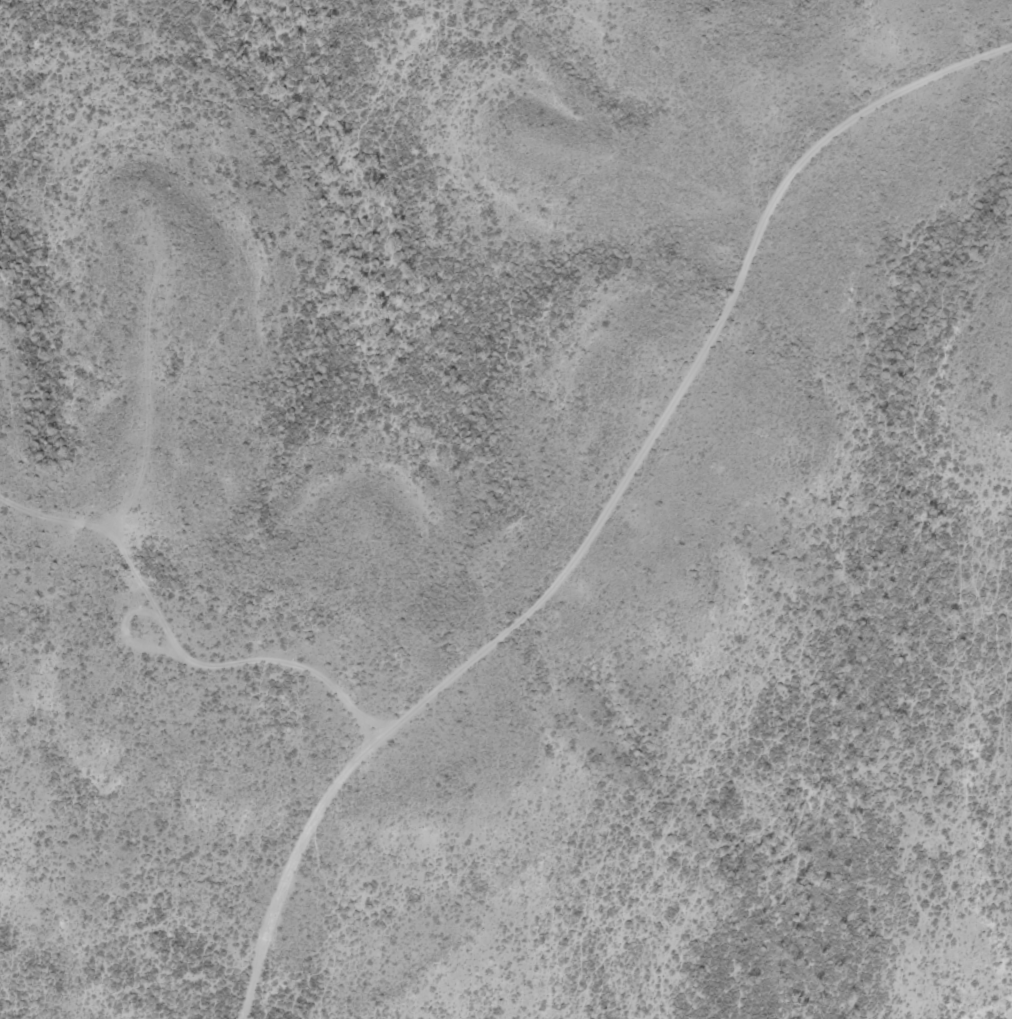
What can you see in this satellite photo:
road: (607, 509)

